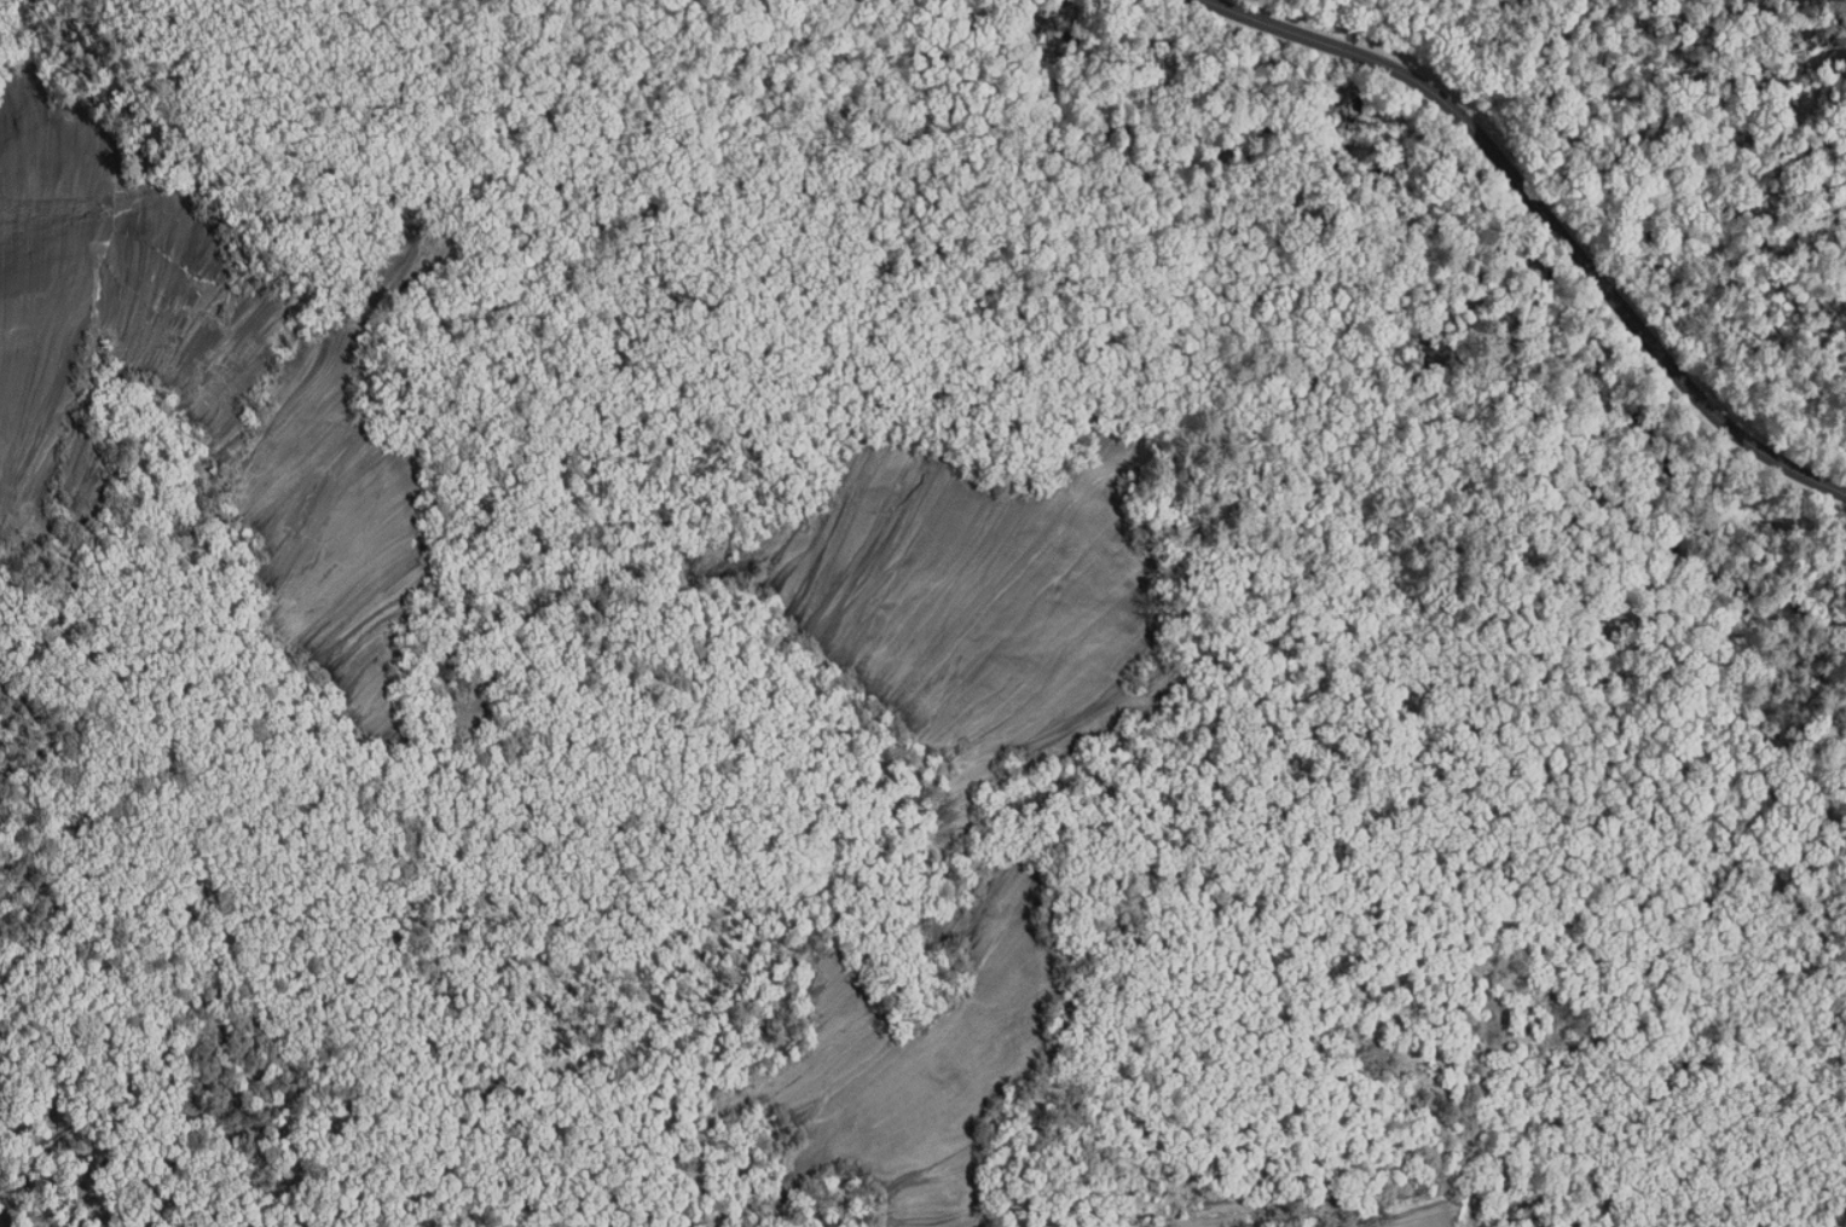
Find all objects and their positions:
road: (1550, 216)
road: (326, 1158)

